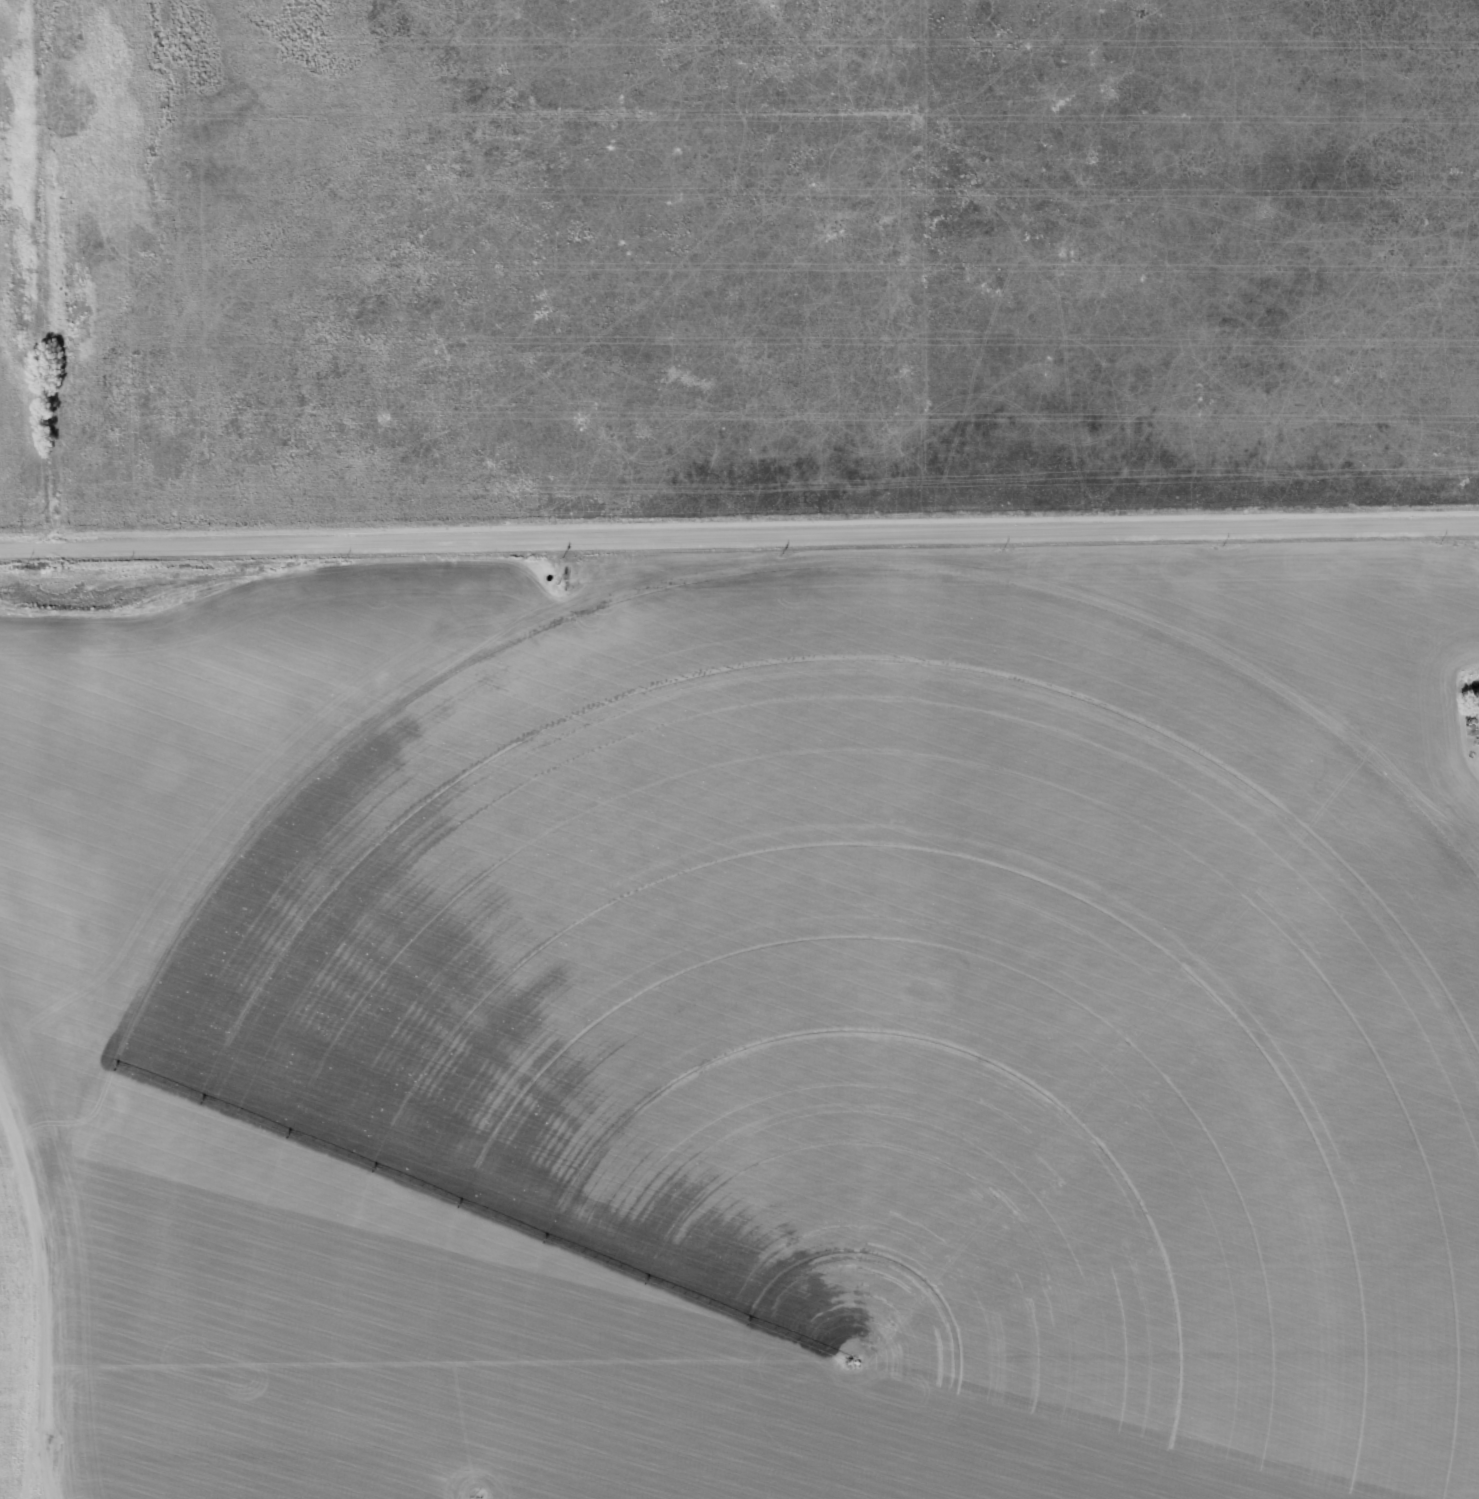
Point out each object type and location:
road: (739, 539)

